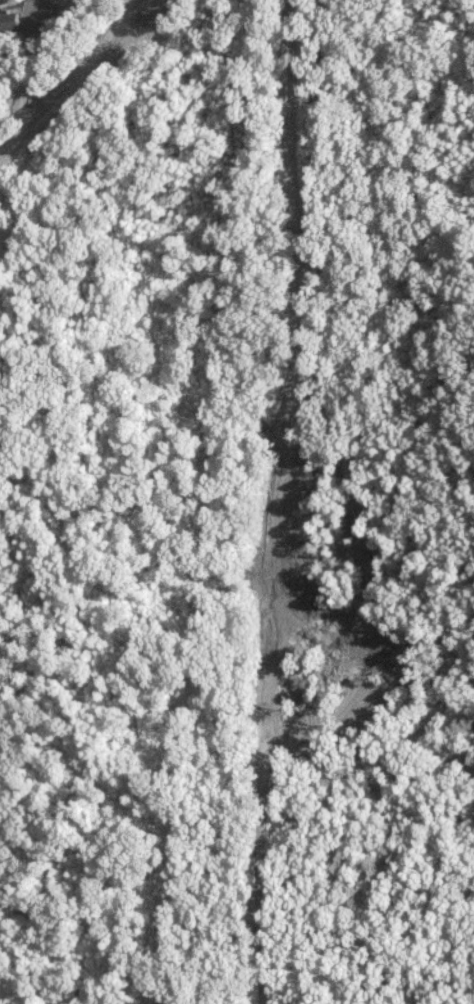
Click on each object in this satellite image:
building: (8, 23)
road: (66, 73)

